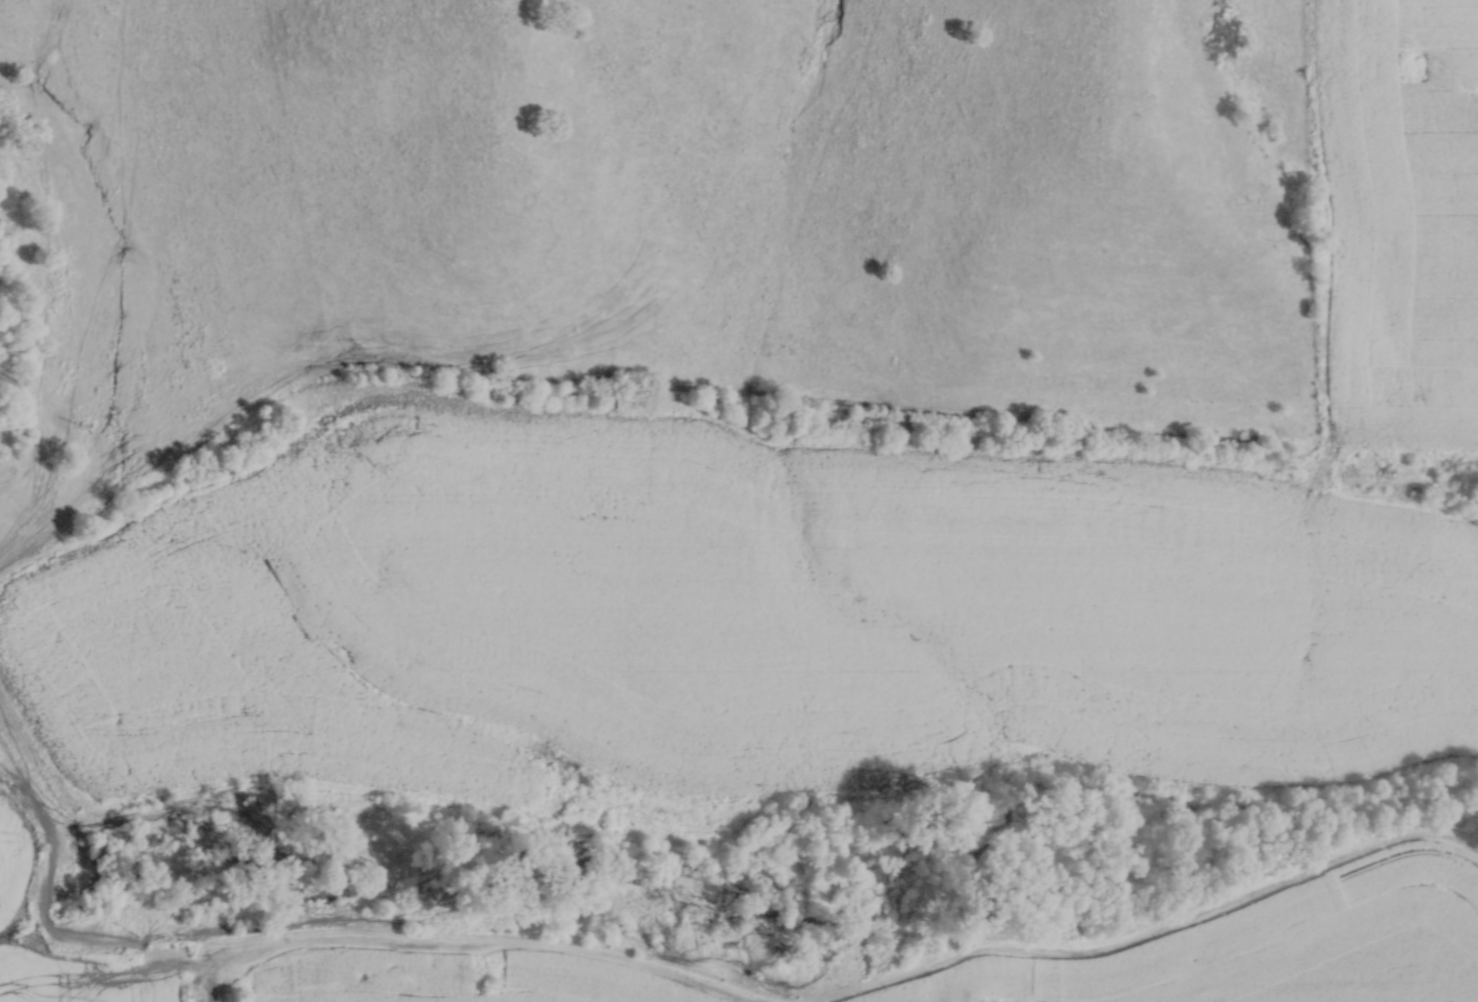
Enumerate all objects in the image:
road: (41, 925)
power tower: (39, 944)
power tower: (487, 979)
road: (208, 991)

